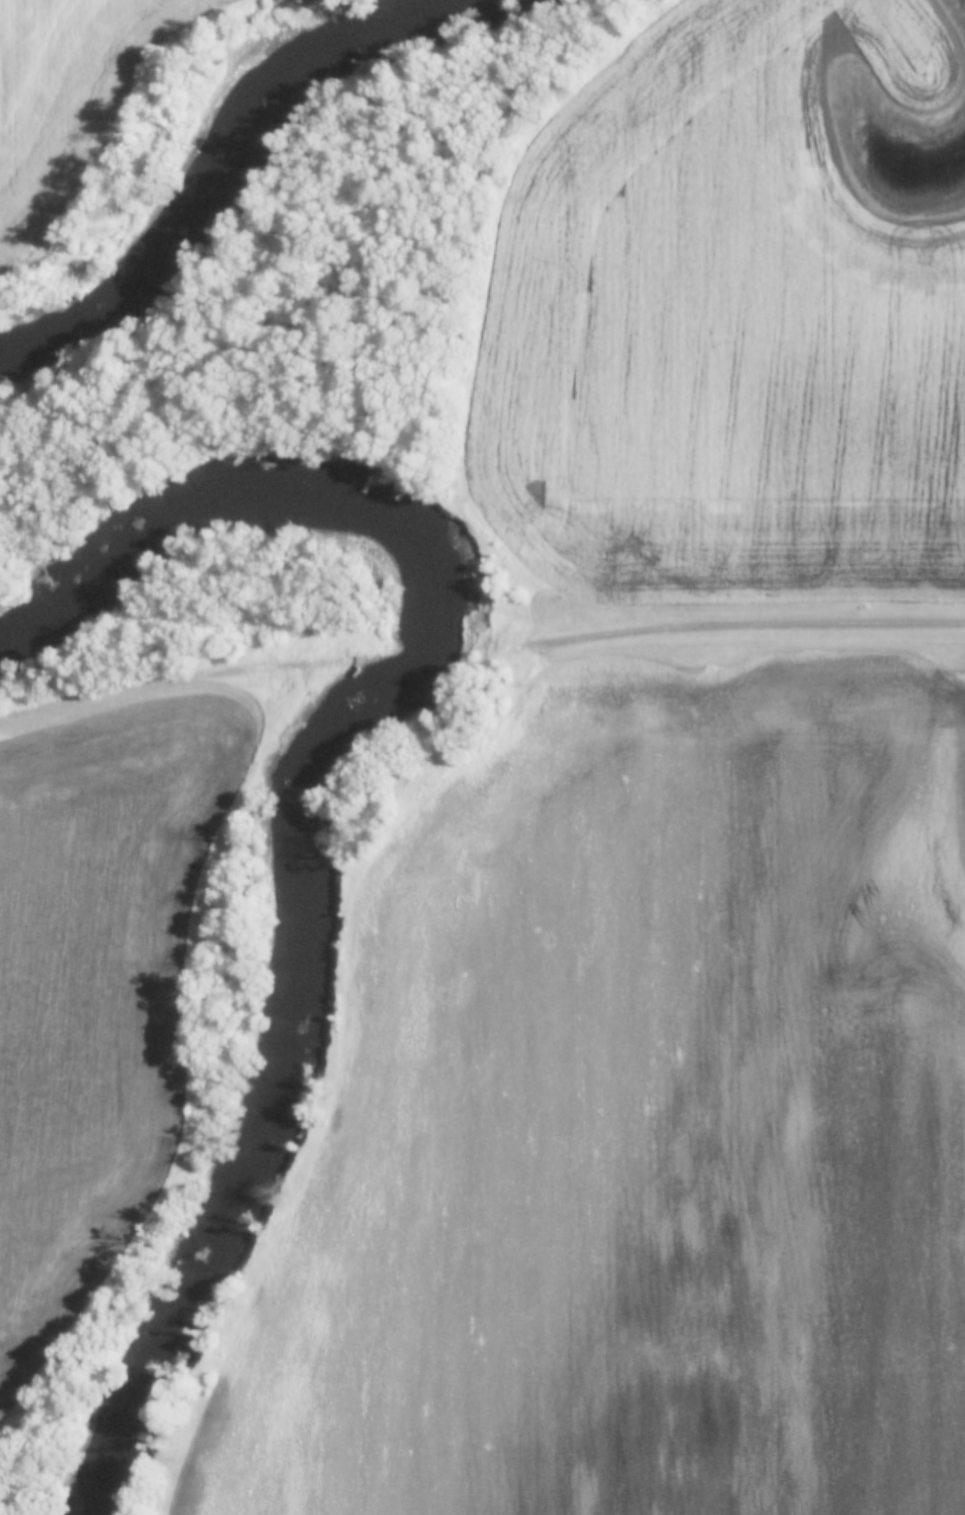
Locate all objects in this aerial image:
river: (189, 144)
road: (480, 648)
river: (290, 810)

